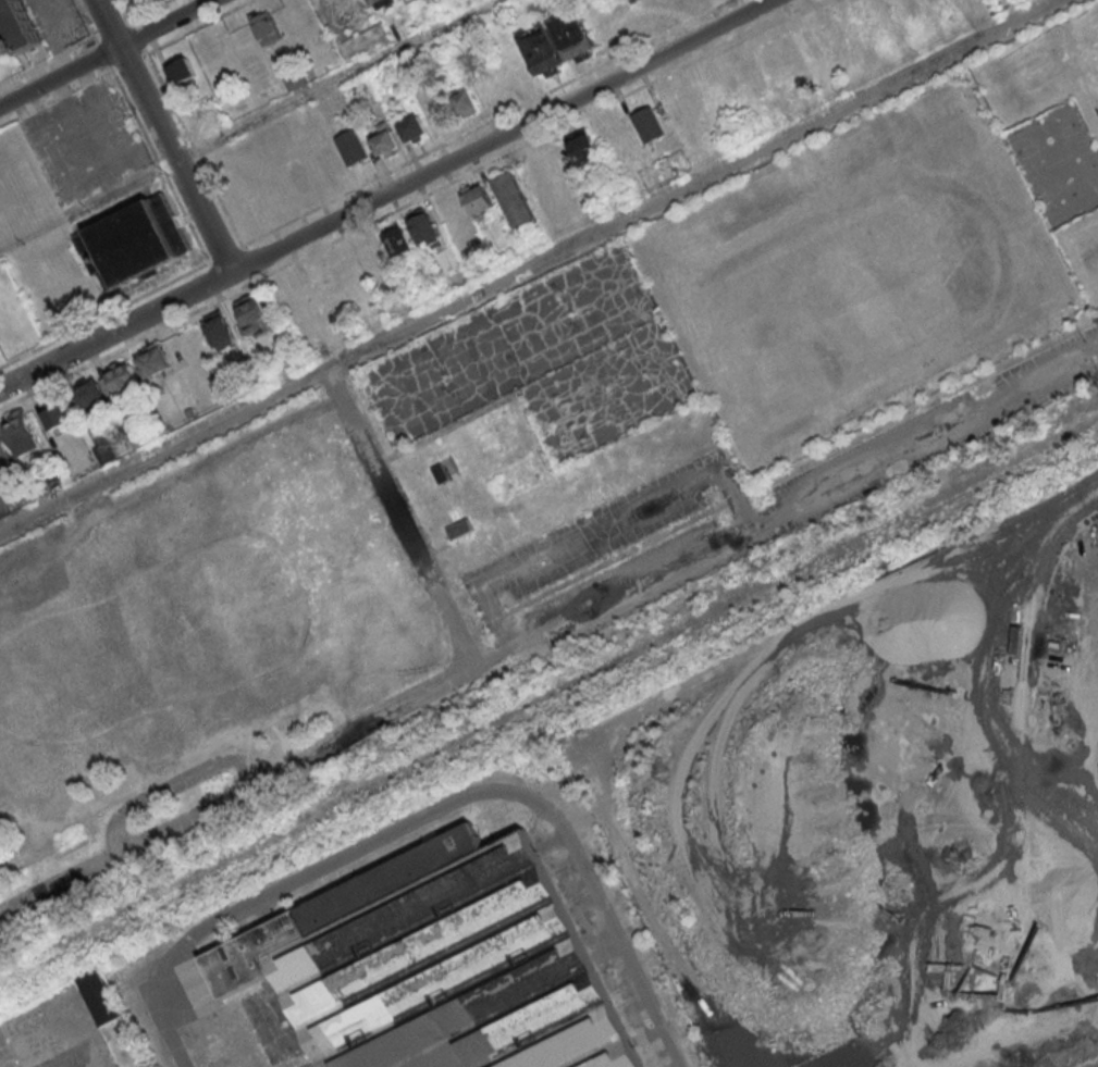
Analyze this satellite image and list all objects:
building: (380, 3)
building: (888, 10)
building: (266, 27)
building: (22, 36)
building: (363, 41)
building: (557, 42)
road: (104, 52)
building: (791, 52)
building: (770, 57)
building: (181, 71)
building: (295, 77)
building: (466, 102)
road: (281, 108)
building: (439, 112)
building: (647, 124)
building: (411, 129)
road: (162, 136)
building: (384, 140)
building: (351, 147)
building: (583, 150)
park: (1057, 161)
road: (1025, 187)
road: (385, 194)
building: (478, 198)
building: (514, 199)
building: (427, 231)
building: (399, 240)
building: (133, 241)
road: (4, 248)
road: (535, 269)
building: (252, 313)
road: (661, 325)
building: (220, 330)
road: (1034, 348)
road: (590, 353)
park: (757, 356)
building: (152, 360)
building: (107, 385)
building: (55, 417)
building: (22, 433)
road: (211, 451)
building: (440, 473)
building: (515, 477)
road: (785, 505)
road: (595, 520)
building: (459, 528)
road: (51, 545)
road: (1045, 548)
building: (199, 618)
road: (381, 712)
road: (283, 741)
road: (259, 754)
road: (161, 768)
road: (172, 785)
road: (484, 789)
road: (5, 798)
road: (18, 857)
building: (1053, 889)
building: (434, 964)
building: (98, 996)
road: (75, 1021)
road: (74, 1052)

